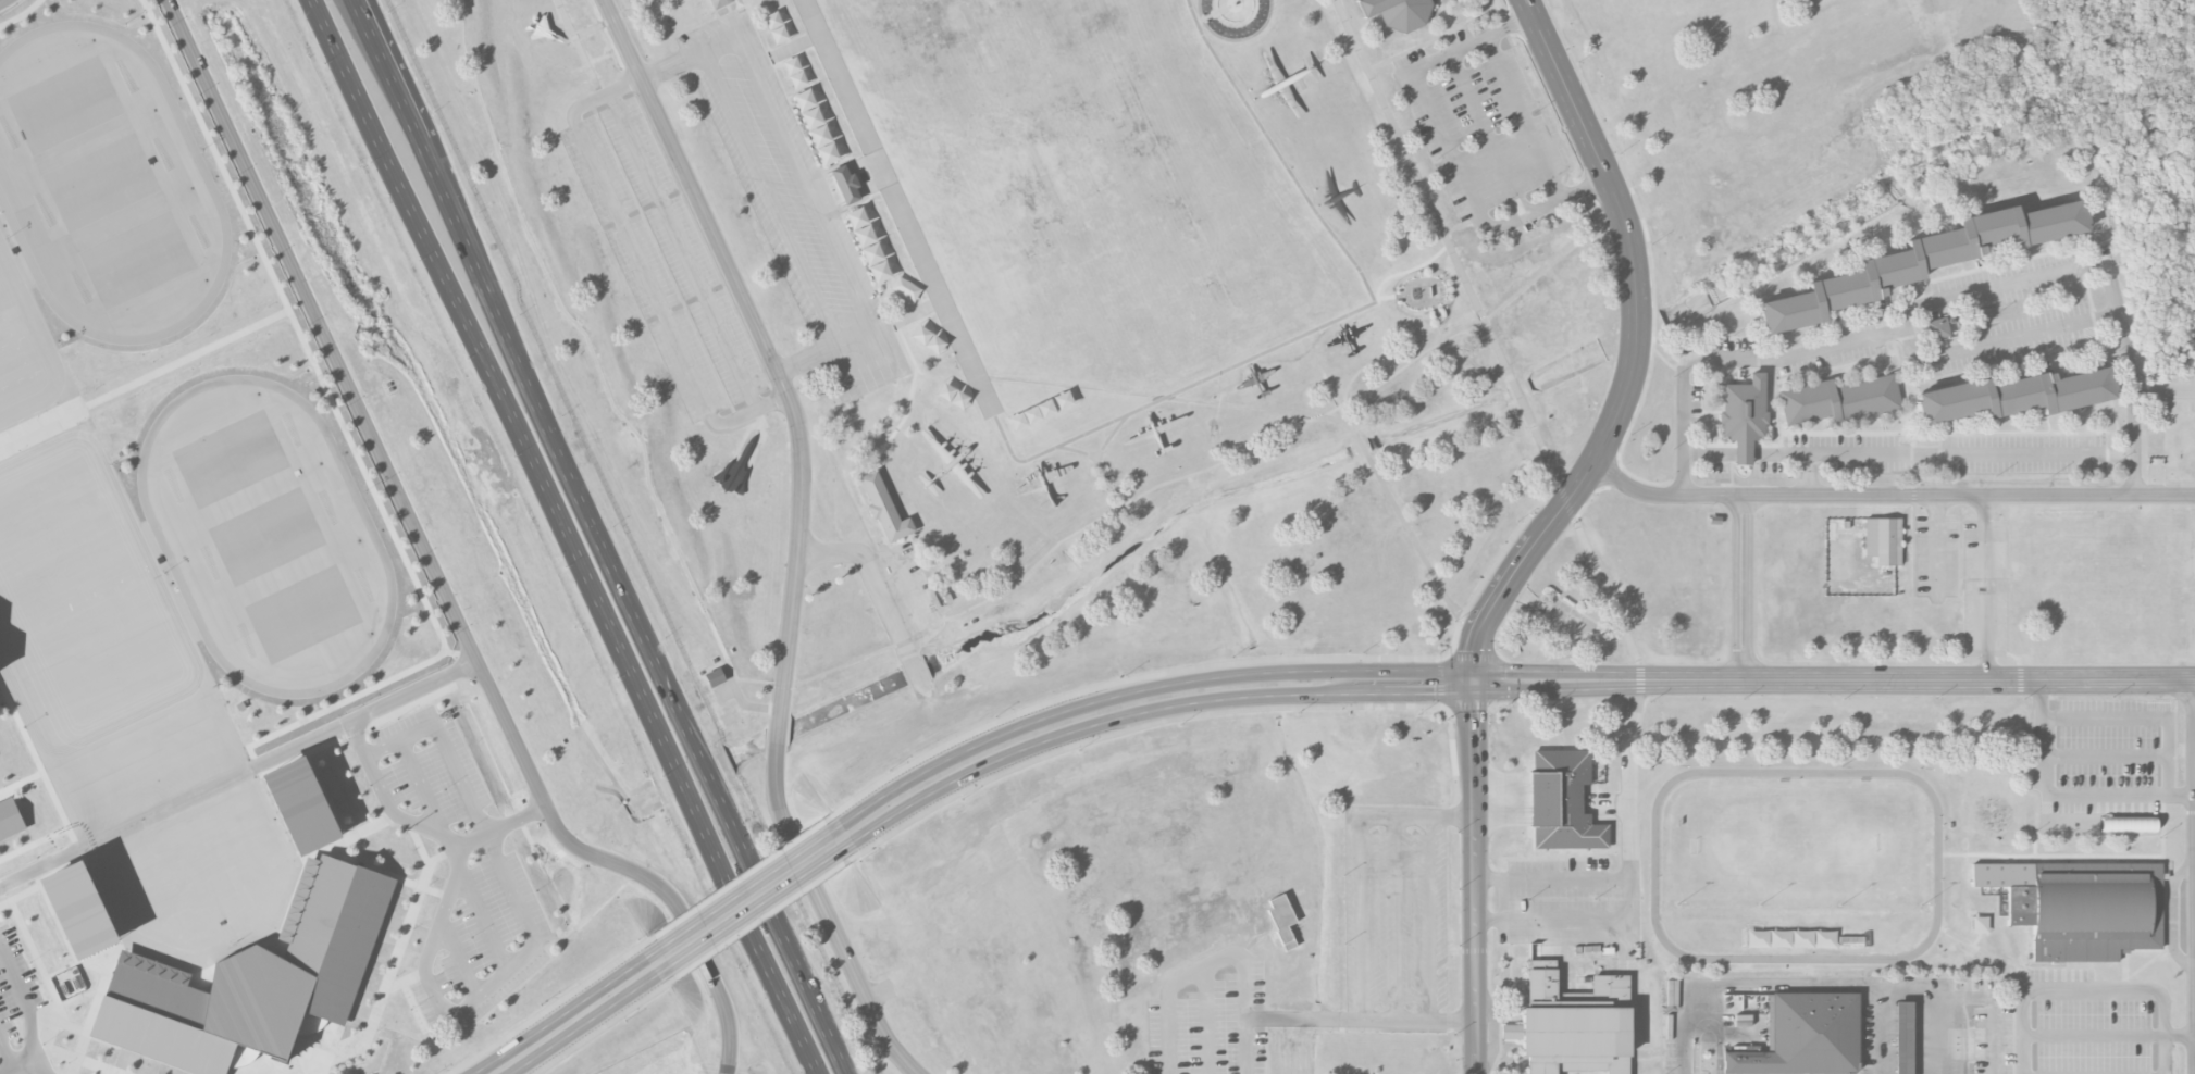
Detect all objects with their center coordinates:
road: (2, 1)
building: (719, 3)
road: (1224, 11)
building: (1396, 12)
road: (20, 14)
road: (613, 17)
road: (1503, 17)
road: (1465, 21)
road: (576, 41)
road: (1411, 49)
road: (1518, 59)
parking lot: (1478, 118)
road: (1523, 118)
road: (1487, 135)
road: (1449, 147)
road: (806, 183)
building: (845, 185)
road: (771, 199)
parking lot: (793, 205)
building: (868, 246)
road: (684, 251)
road: (1650, 259)
parking lot: (665, 260)
building: (1920, 263)
road: (644, 268)
road: (2112, 273)
building: (905, 289)
building: (1937, 328)
road: (1488, 329)
road: (300, 339)
road: (2006, 344)
road: (1634, 351)
road: (1662, 359)
road: (1798, 360)
road: (142, 377)
parking lot: (1925, 385)
road: (2166, 395)
building: (2012, 397)
road: (1165, 398)
building: (1839, 400)
building: (1748, 407)
road: (553, 426)
road: (1686, 432)
road: (516, 435)
road: (1912, 455)
road: (2144, 457)
road: (386, 470)
road: (1020, 473)
road: (1812, 475)
road: (1640, 479)
road: (2180, 484)
road: (1890, 497)
building: (884, 508)
road: (798, 534)
building: (1883, 539)
road: (1505, 548)
road: (869, 555)
parking lot: (1968, 577)
road: (1743, 588)
road: (1988, 588)
road: (1453, 605)
road: (846, 665)
building: (715, 677)
road: (1503, 682)
traffic signals: (1476, 683)
road: (342, 702)
road: (398, 711)
road: (2142, 717)
road: (1155, 722)
road: (2105, 754)
parking lot: (2105, 763)
road: (39, 765)
road: (237, 775)
road: (21, 782)
road: (422, 787)
road: (2064, 795)
road: (326, 800)
building: (1562, 800)
building: (302, 806)
road: (1419, 815)
building: (10, 819)
road: (500, 827)
park: (1802, 834)
road: (34, 842)
road: (420, 846)
road: (323, 849)
track: (1654, 865)
parking lot: (457, 870)
road: (381, 872)
road: (1629, 876)
road: (1477, 878)
road: (1553, 878)
road: (736, 879)
road: (41, 885)
road: (767, 891)
road: (1503, 899)
road: (5, 903)
road: (748, 903)
parking lot: (1571, 903)
road: (740, 906)
building: (2082, 906)
parking lot: (1396, 907)
building: (79, 909)
road: (1364, 915)
road: (482, 916)
road: (1397, 916)
road: (1429, 916)
road: (760, 919)
building: (1282, 919)
building: (1980, 924)
building: (1802, 939)
road: (458, 956)
road: (1216, 960)
road: (92, 966)
road: (712, 975)
road: (387, 978)
road: (400, 982)
building: (256, 983)
road: (1789, 985)
road: (2092, 991)
road: (479, 992)
road: (1967, 995)
road: (70, 998)
road: (817, 1001)
road: (414, 1007)
road: (548, 1007)
road: (1884, 1007)
road: (26, 1008)
road: (788, 1008)
road: (94, 1011)
parking lot: (18, 1012)
road: (1362, 1016)
road: (1206, 1021)
road: (574, 1022)
parking lot: (2091, 1023)
building: (1573, 1024)
parking lot: (1678, 1025)
parking lot: (1212, 1026)
parking lot: (1934, 1026)
road: (599, 1027)
road: (1685, 1029)
road: (1706, 1029)
road: (2094, 1035)
road: (2180, 1035)
building: (1806, 1036)
building: (1903, 1036)
road: (127, 1046)
road: (46, 1047)
road: (7, 1058)
road: (17, 1064)
road: (289, 1071)

